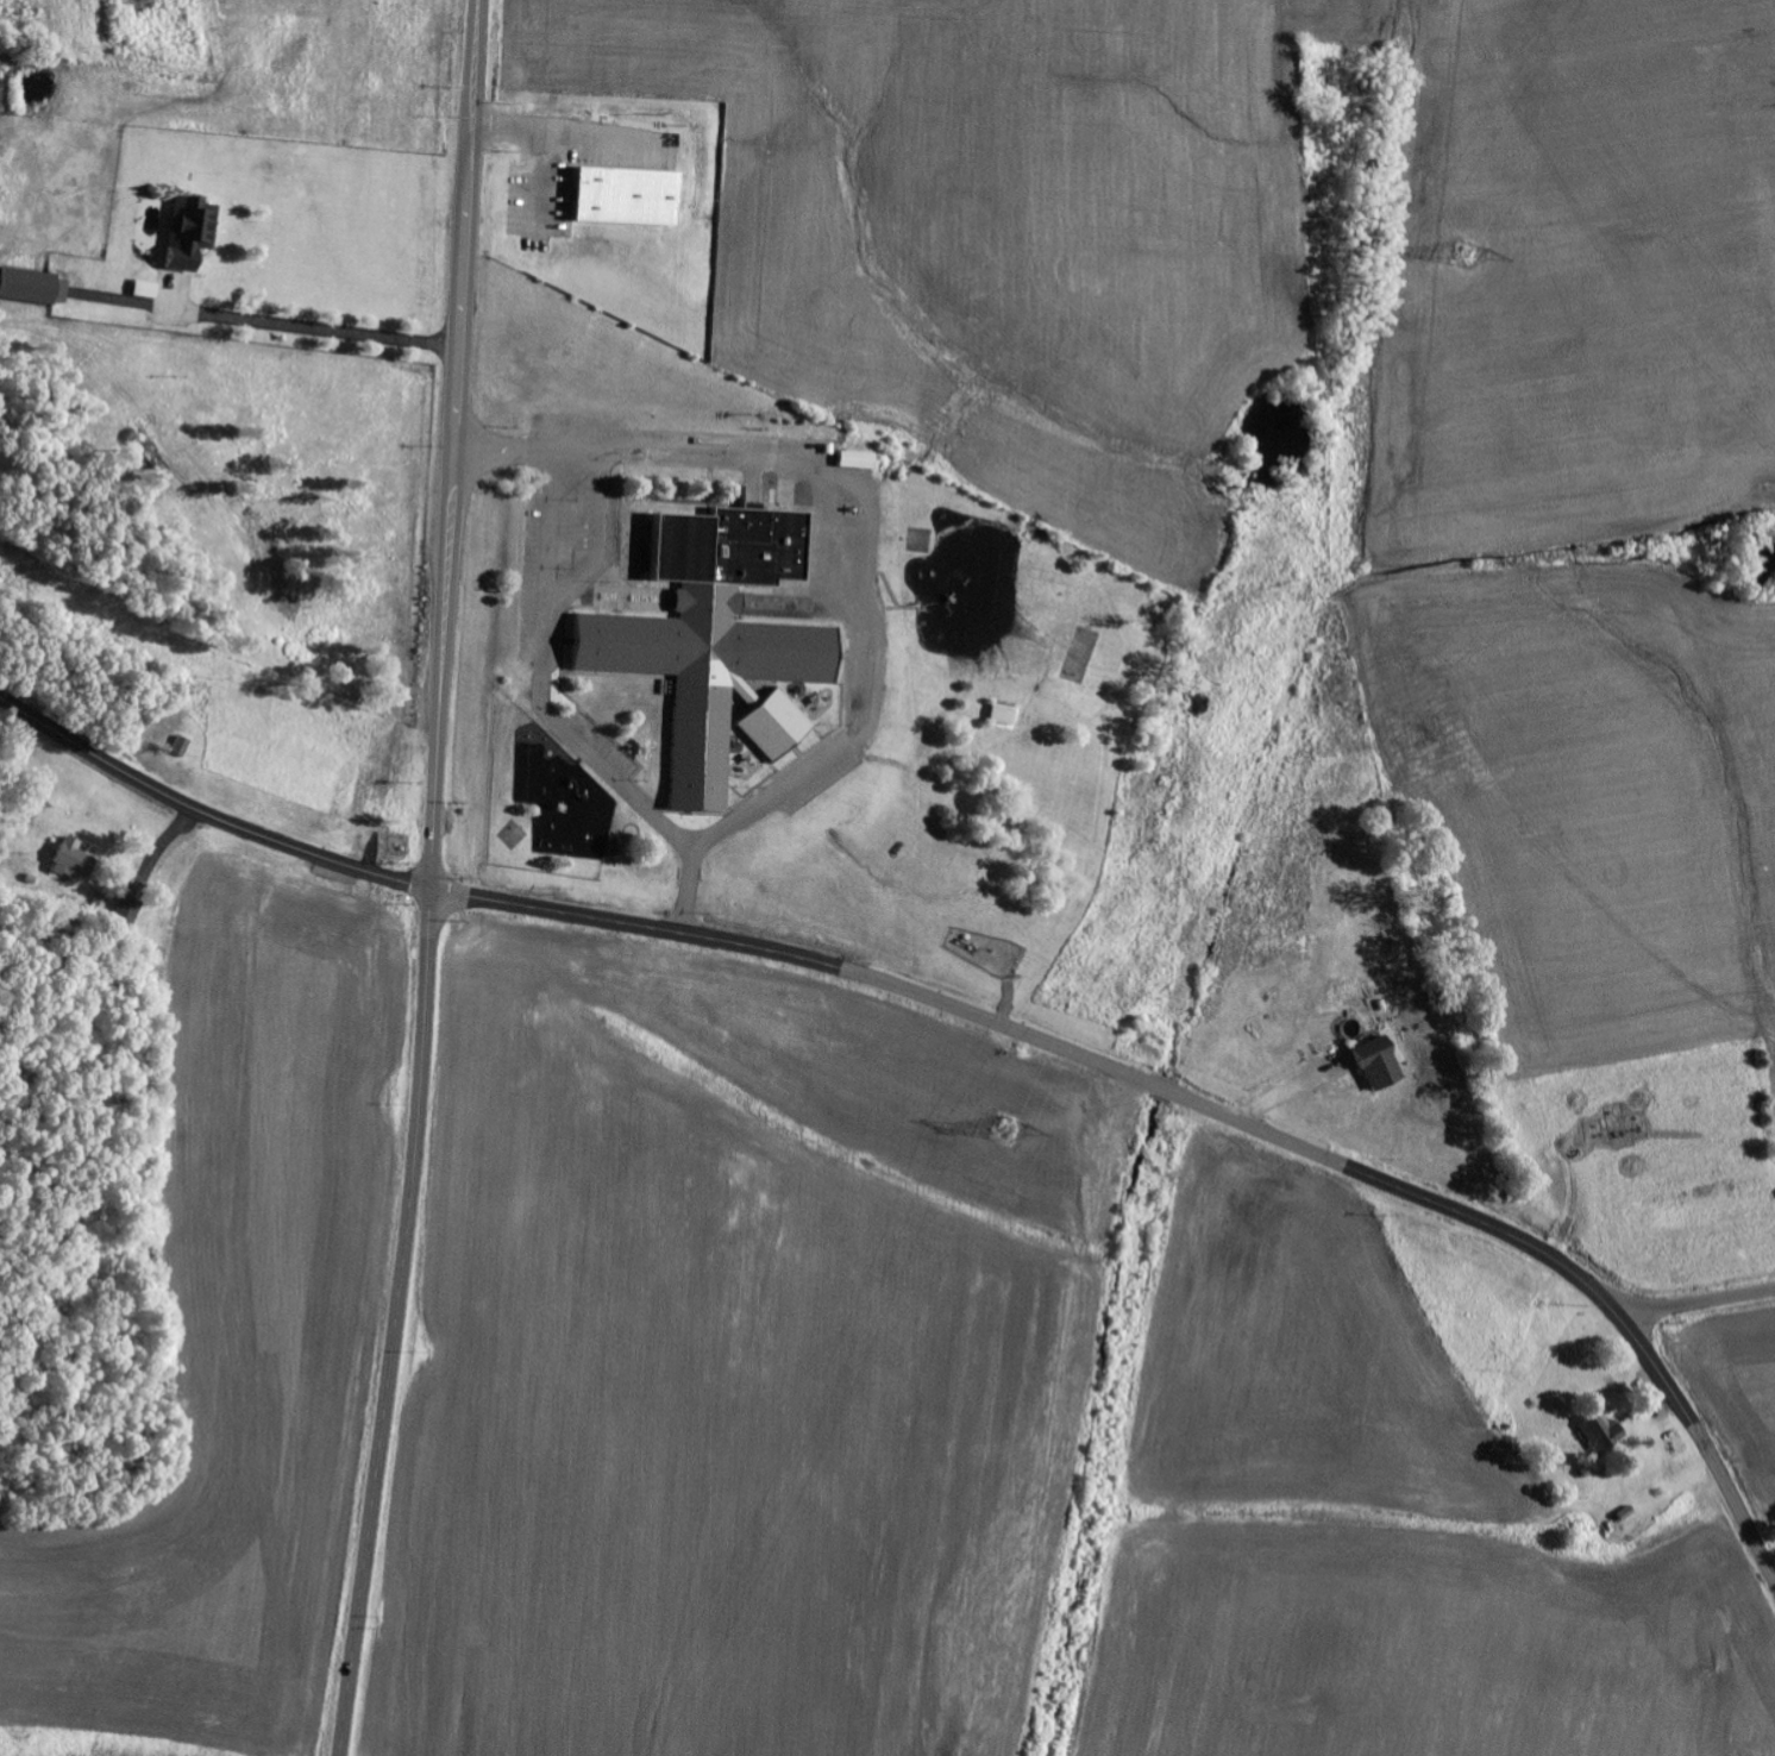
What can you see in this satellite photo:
building: (629, 196)
building: (193, 232)
power tower: (1467, 256)
building: (37, 287)
building: (148, 290)
road: (231, 321)
building: (857, 460)
building: (715, 635)
building: (1004, 715)
building: (776, 726)
building: (1422, 733)
building: (182, 747)
building: (75, 860)
road: (432, 879)
building: (130, 911)
road: (968, 1014)
building: (1384, 1065)
power tower: (1006, 1131)
road: (1696, 1299)
building: (1604, 1437)

